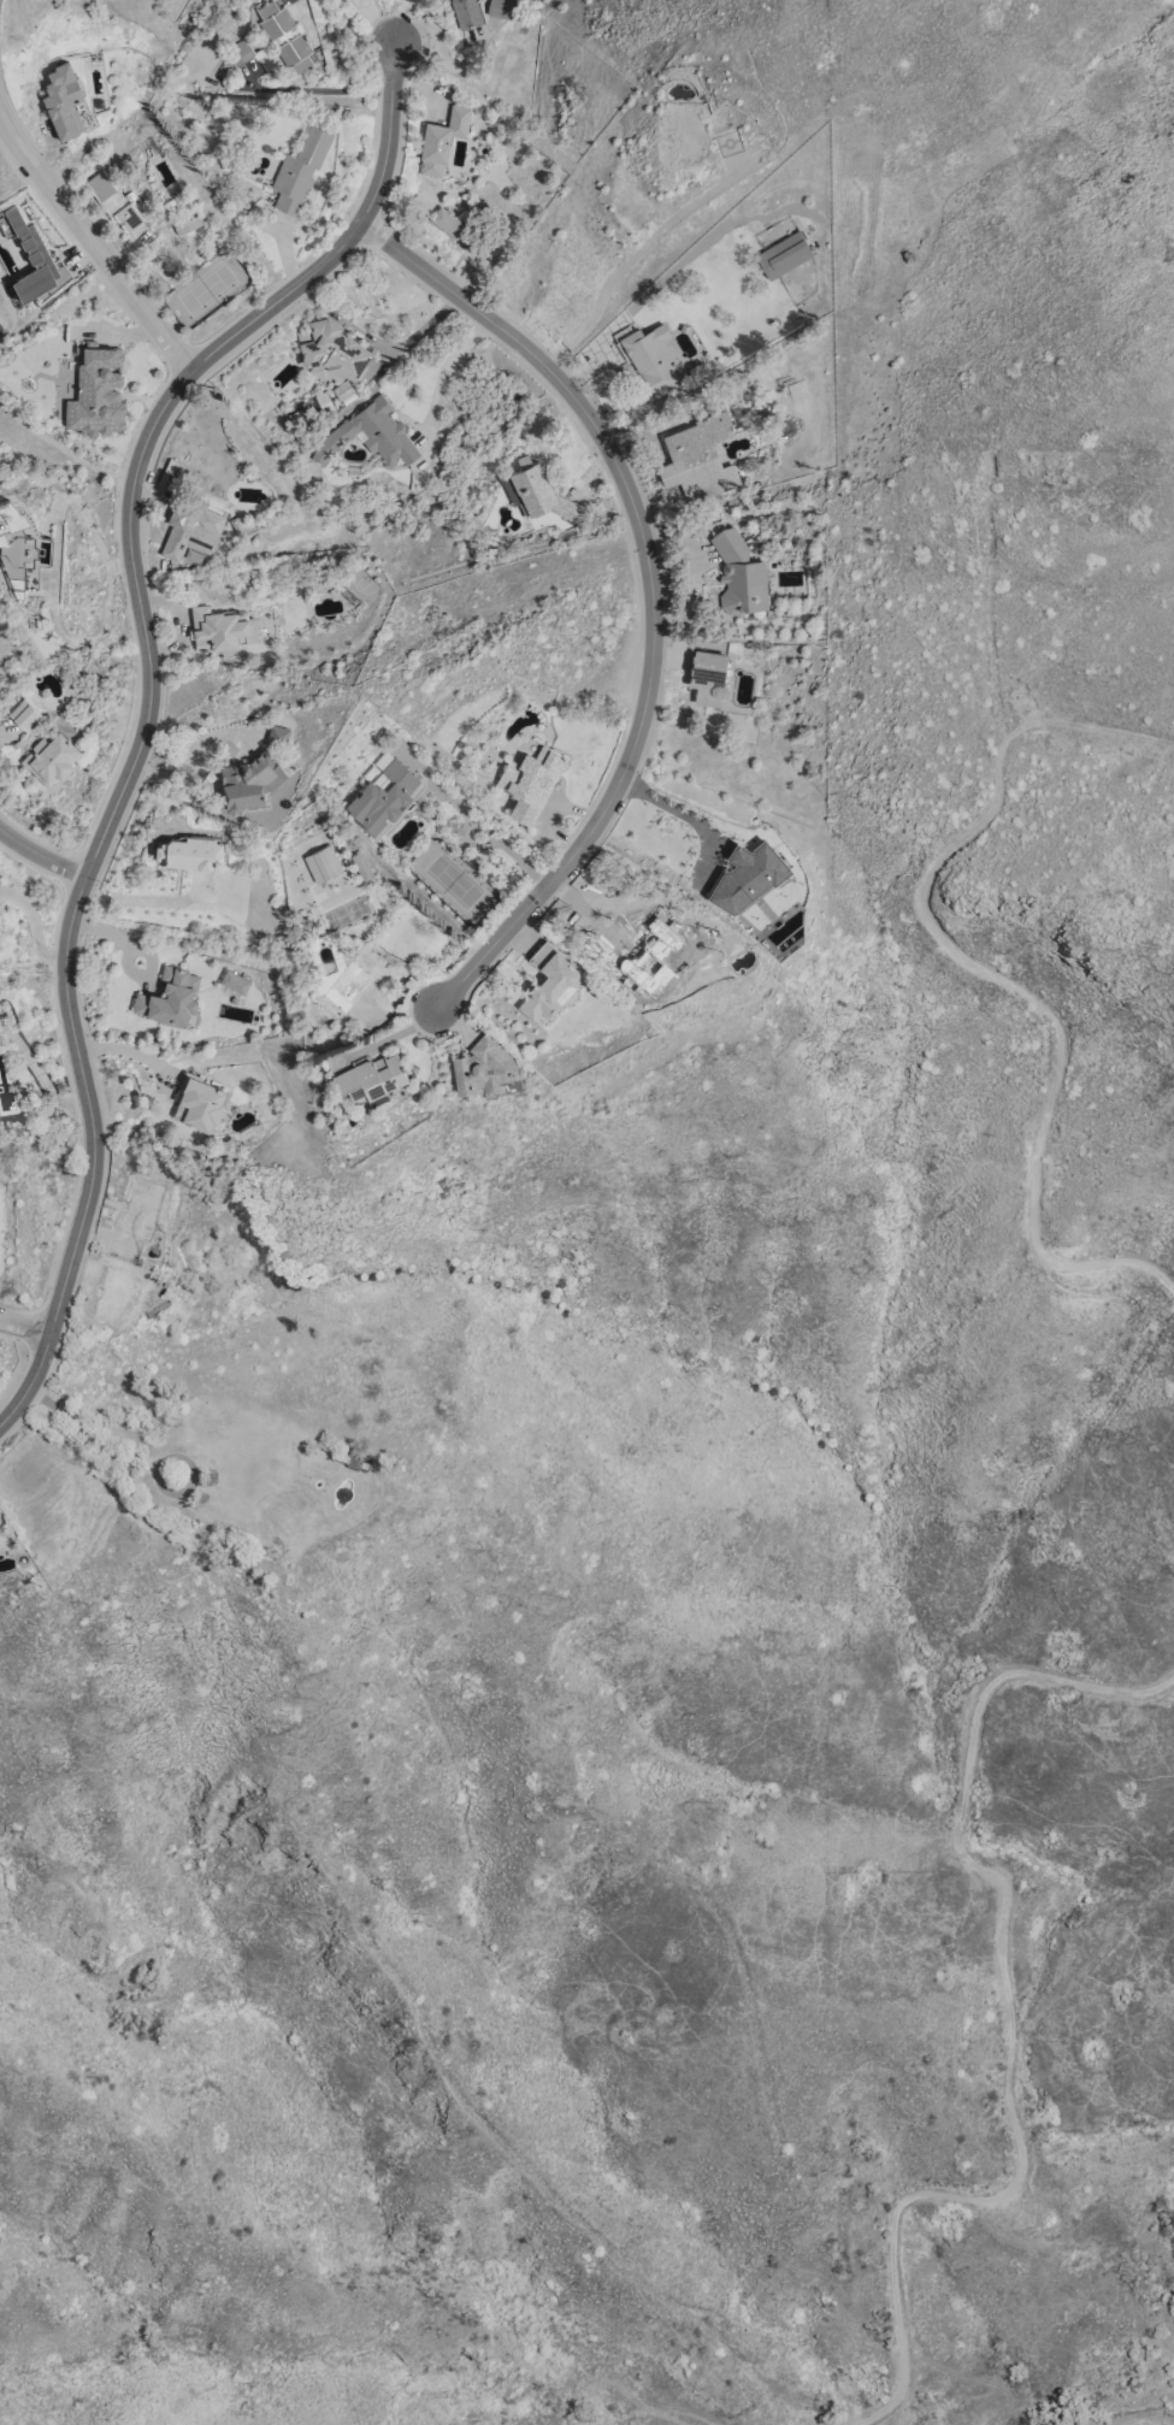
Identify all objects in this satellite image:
building: (501, 8)
building: (466, 13)
building: (284, 36)
building: (238, 53)
road: (319, 92)
building: (65, 101)
building: (697, 130)
building: (441, 141)
building: (299, 172)
building: (114, 201)
building: (181, 217)
building: (446, 223)
road: (92, 242)
building: (781, 255)
road: (632, 259)
building: (331, 353)
building: (653, 361)
road: (447, 372)
building: (95, 391)
building: (306, 409)
building: (368, 436)
building: (697, 459)
building: (189, 529)
building: (20, 548)
road: (54, 565)
building: (738, 574)
road: (653, 590)
building: (219, 627)
building: (707, 675)
road: (147, 697)
building: (24, 714)
building: (277, 734)
building: (0, 744)
road: (191, 747)
building: (49, 757)
building: (530, 779)
building: (246, 781)
building: (382, 796)
road: (686, 816)
road: (473, 819)
building: (187, 850)
road: (40, 857)
building: (321, 863)
road: (144, 901)
road: (34, 926)
building: (668, 958)
road: (995, 973)
building: (352, 978)
building: (232, 981)
building: (548, 981)
building: (169, 998)
building: (483, 1066)
road: (36, 1074)
building: (372, 1074)
building: (197, 1103)
building: (151, 1209)
building: (2, 1217)
building: (113, 1293)
road: (24, 1326)
road: (93, 1442)
building: (242, 1462)
building: (0, 1524)
road: (1010, 2008)
road: (1115, 2413)

